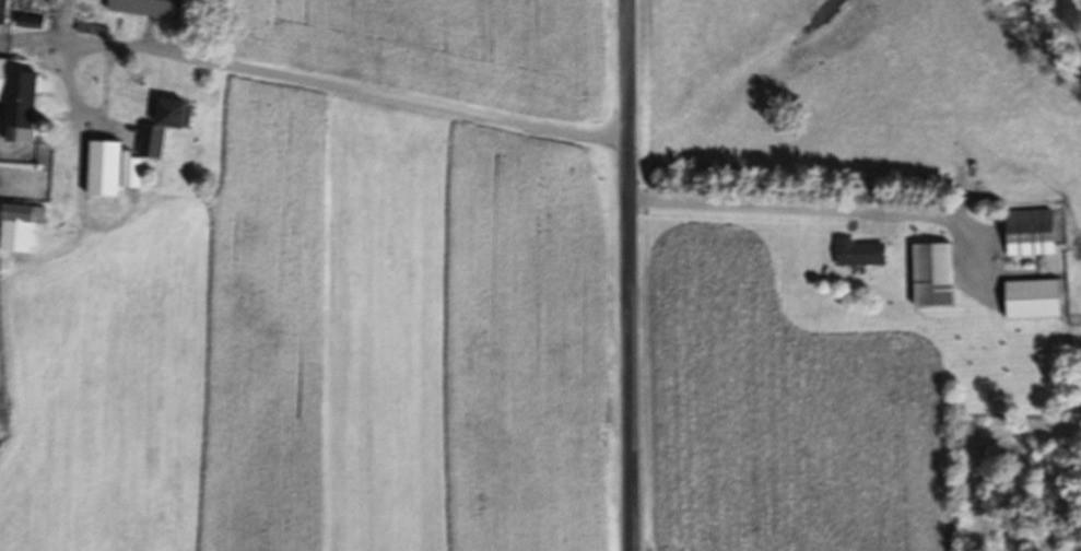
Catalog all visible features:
building: (149, 8)
building: (3, 11)
road: (383, 93)
building: (19, 99)
building: (164, 127)
building: (104, 169)
building: (19, 227)
building: (1031, 232)
building: (860, 253)
road: (627, 274)
building: (932, 274)
building: (1033, 300)

